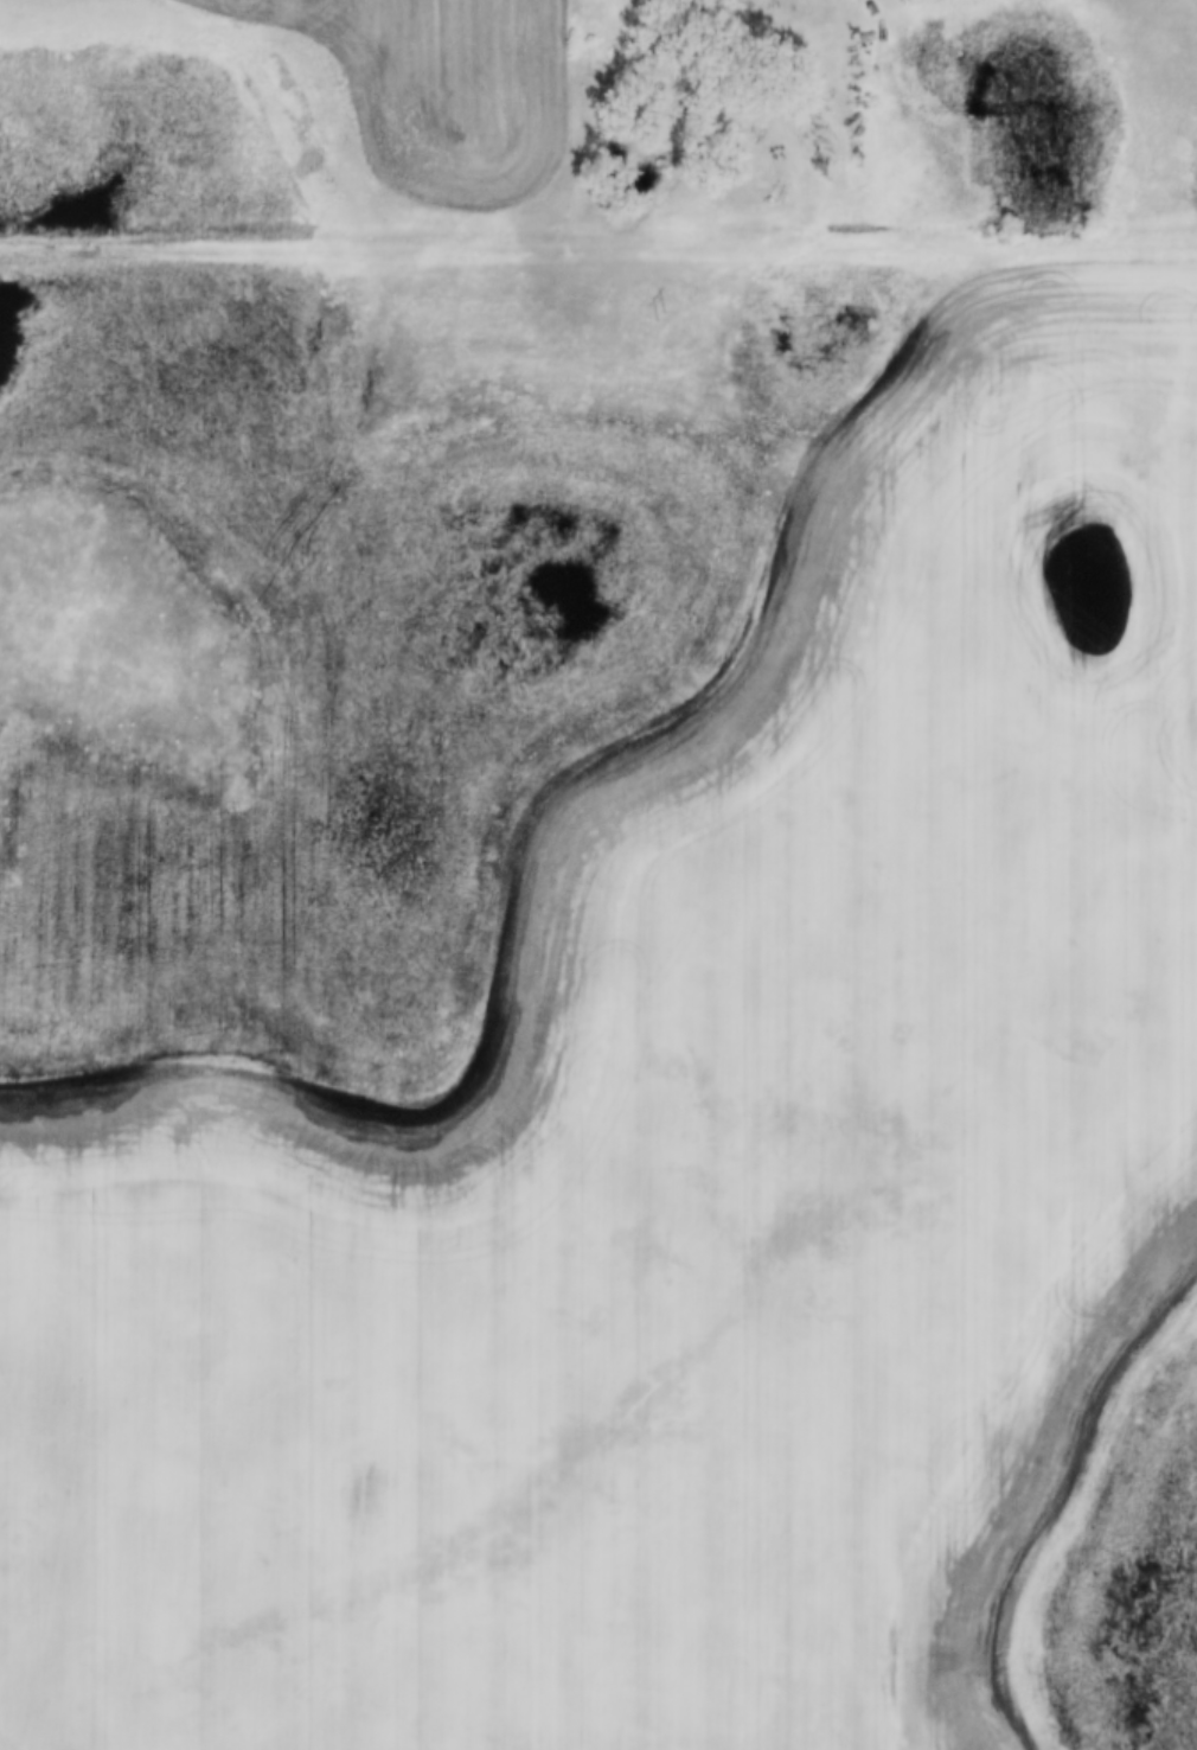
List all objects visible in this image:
road: (598, 257)

